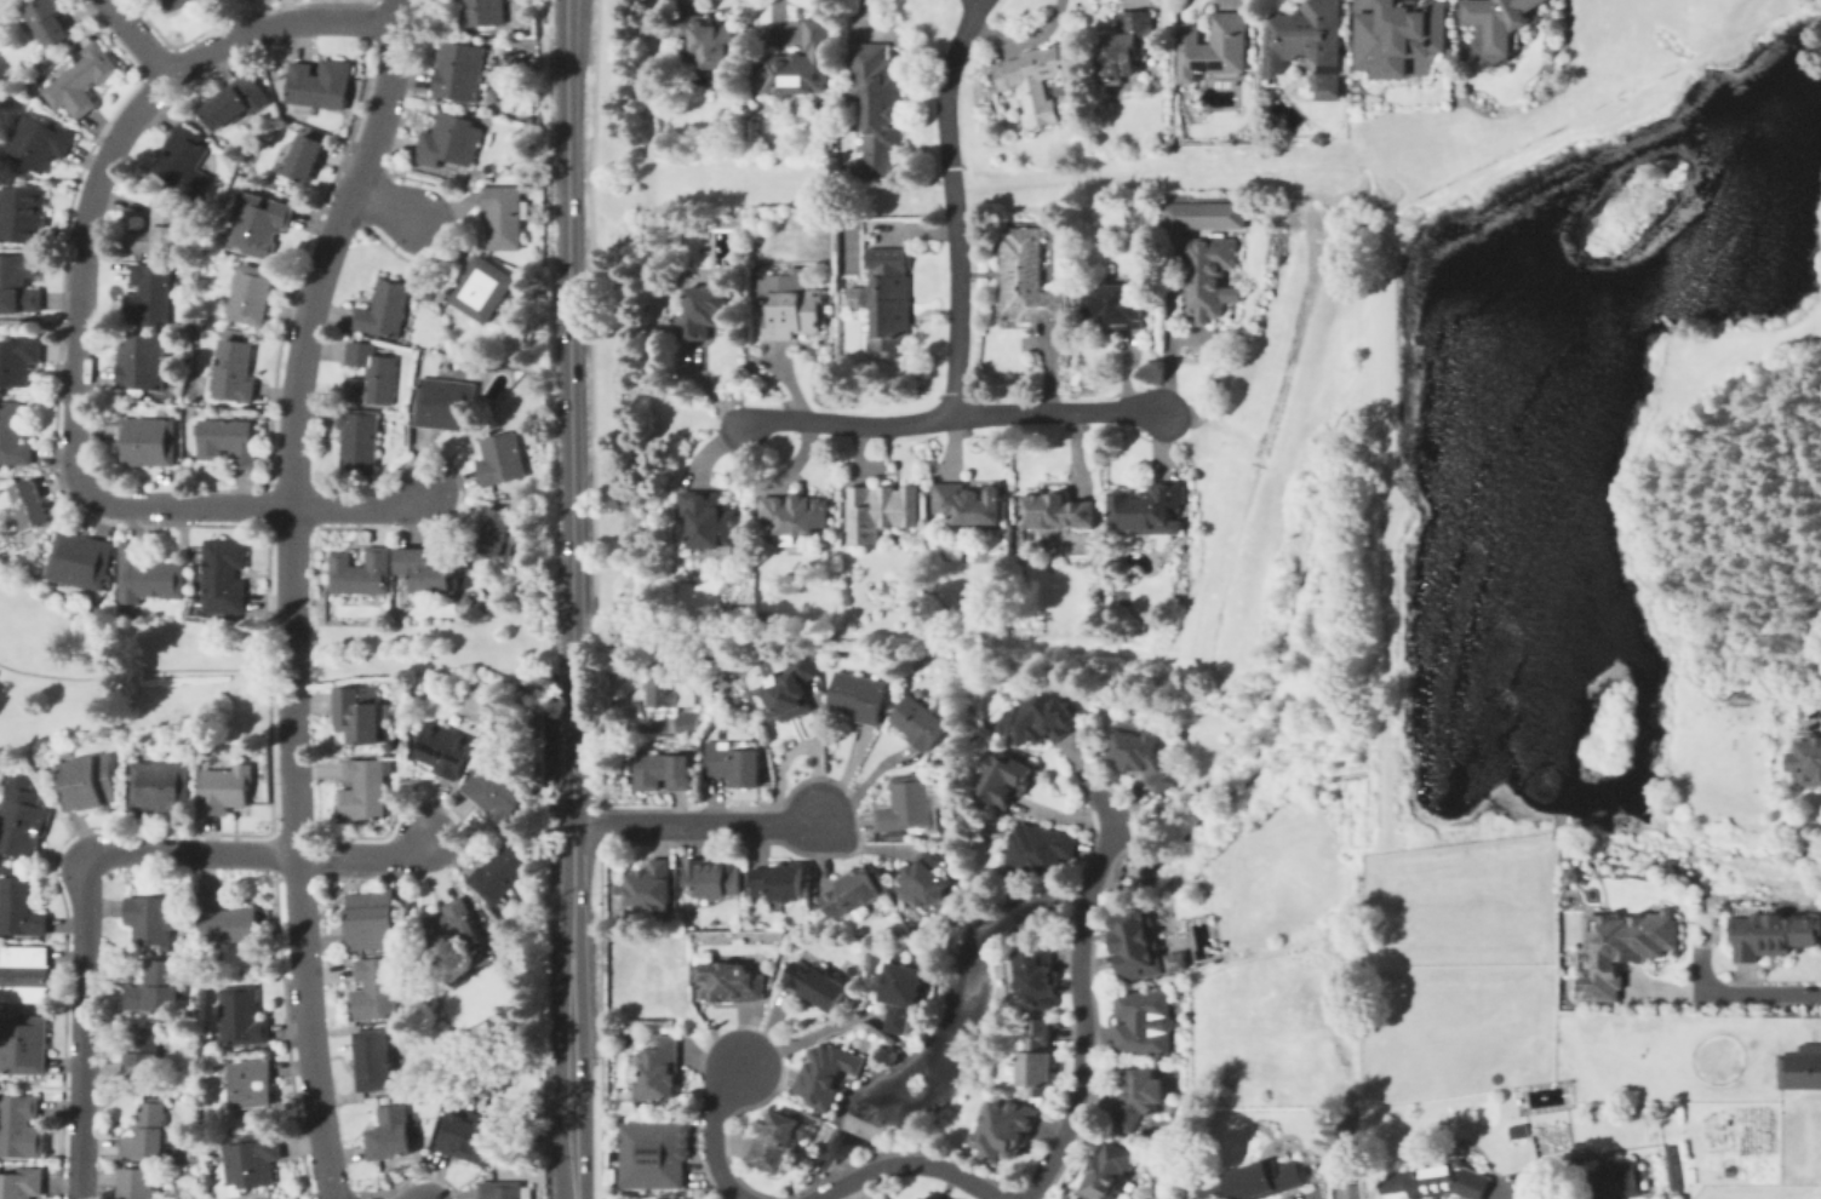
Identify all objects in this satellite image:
building: (205, 1)
building: (173, 2)
building: (477, 12)
building: (47, 22)
building: (1496, 23)
building: (1307, 33)
building: (1398, 35)
road: (136, 36)
building: (705, 38)
building: (1126, 44)
building: (1216, 46)
building: (798, 63)
building: (457, 70)
building: (80, 75)
building: (316, 80)
building: (1037, 81)
building: (233, 97)
building: (878, 103)
building: (452, 138)
building: (36, 139)
building: (304, 155)
building: (181, 156)
road: (952, 202)
road: (388, 203)
building: (19, 211)
building: (500, 213)
building: (1176, 213)
building: (256, 230)
building: (154, 231)
park: (849, 247)
building: (1207, 274)
building: (1027, 277)
building: (17, 280)
building: (479, 287)
building: (144, 292)
building: (251, 294)
building: (888, 298)
building: (1112, 305)
building: (704, 306)
building: (382, 310)
building: (791, 310)
road: (76, 316)
road: (38, 319)
building: (17, 357)
building: (137, 362)
building: (231, 369)
building: (372, 372)
building: (443, 405)
road: (569, 412)
road: (952, 413)
road: (655, 431)
building: (12, 432)
building: (227, 436)
road: (1207, 436)
building: (145, 438)
building: (355, 442)
building: (499, 458)
road: (1259, 464)
building: (970, 501)
building: (28, 503)
building: (1149, 506)
building: (1055, 507)
building: (794, 510)
building: (881, 510)
building: (710, 522)
building: (498, 532)
building: (76, 558)
building: (428, 566)
building: (357, 568)
building: (144, 572)
building: (222, 573)
road: (290, 591)
park: (217, 665)
road: (144, 667)
building: (676, 688)
building: (794, 688)
building: (859, 696)
building: (356, 710)
building: (1036, 719)
building: (920, 721)
building: (689, 723)
building: (441, 747)
building: (1144, 752)
building: (1809, 759)
building: (738, 762)
building: (664, 770)
building: (1002, 778)
building: (85, 781)
building: (158, 785)
building: (224, 787)
building: (361, 787)
building: (497, 787)
building: (907, 805)
building: (19, 816)
road: (1119, 820)
road: (695, 824)
road: (1129, 827)
building: (1040, 849)
road: (257, 851)
building: (5, 868)
building: (499, 870)
building: (714, 877)
building: (1571, 877)
building: (926, 880)
building: (780, 882)
building: (652, 885)
building: (617, 889)
building: (853, 891)
road: (1088, 895)
building: (18, 907)
building: (221, 917)
building: (368, 918)
building: (147, 919)
building: (457, 933)
building: (1774, 934)
building: (1135, 942)
building: (1622, 951)
building: (1175, 962)
building: (23, 973)
building: (1038, 976)
building: (731, 982)
building: (373, 985)
building: (818, 985)
building: (154, 987)
building: (903, 993)
road: (1743, 994)
road: (573, 1011)
building: (236, 1014)
building: (1141, 1022)
crop: (1570, 1027)
road: (80, 1028)
road: (806, 1035)
building: (23, 1043)
building: (141, 1052)
building: (1036, 1052)
building: (371, 1057)
building: (1802, 1067)
road: (1084, 1071)
building: (657, 1072)
building: (826, 1073)
building: (247, 1082)
road: (39, 1084)
building: (1144, 1096)
building: (19, 1126)
building: (1008, 1126)
building: (388, 1131)
building: (1518, 1131)
building: (145, 1132)
road: (710, 1132)
building: (464, 1135)
building: (779, 1143)
building: (1819, 1148)
building: (655, 1154)
building: (248, 1160)
road: (907, 1163)
building: (1671, 1168)
building: (1730, 1168)
building: (1111, 1172)
building: (1261, 1180)
building: (1597, 1180)
building: (19, 1182)
building: (133, 1182)
building: (1441, 1183)
building: (500, 1188)
road: (1516, 1194)
building: (625, 1198)
building: (662, 1198)
building: (920, 1198)
building: (928, 1198)

